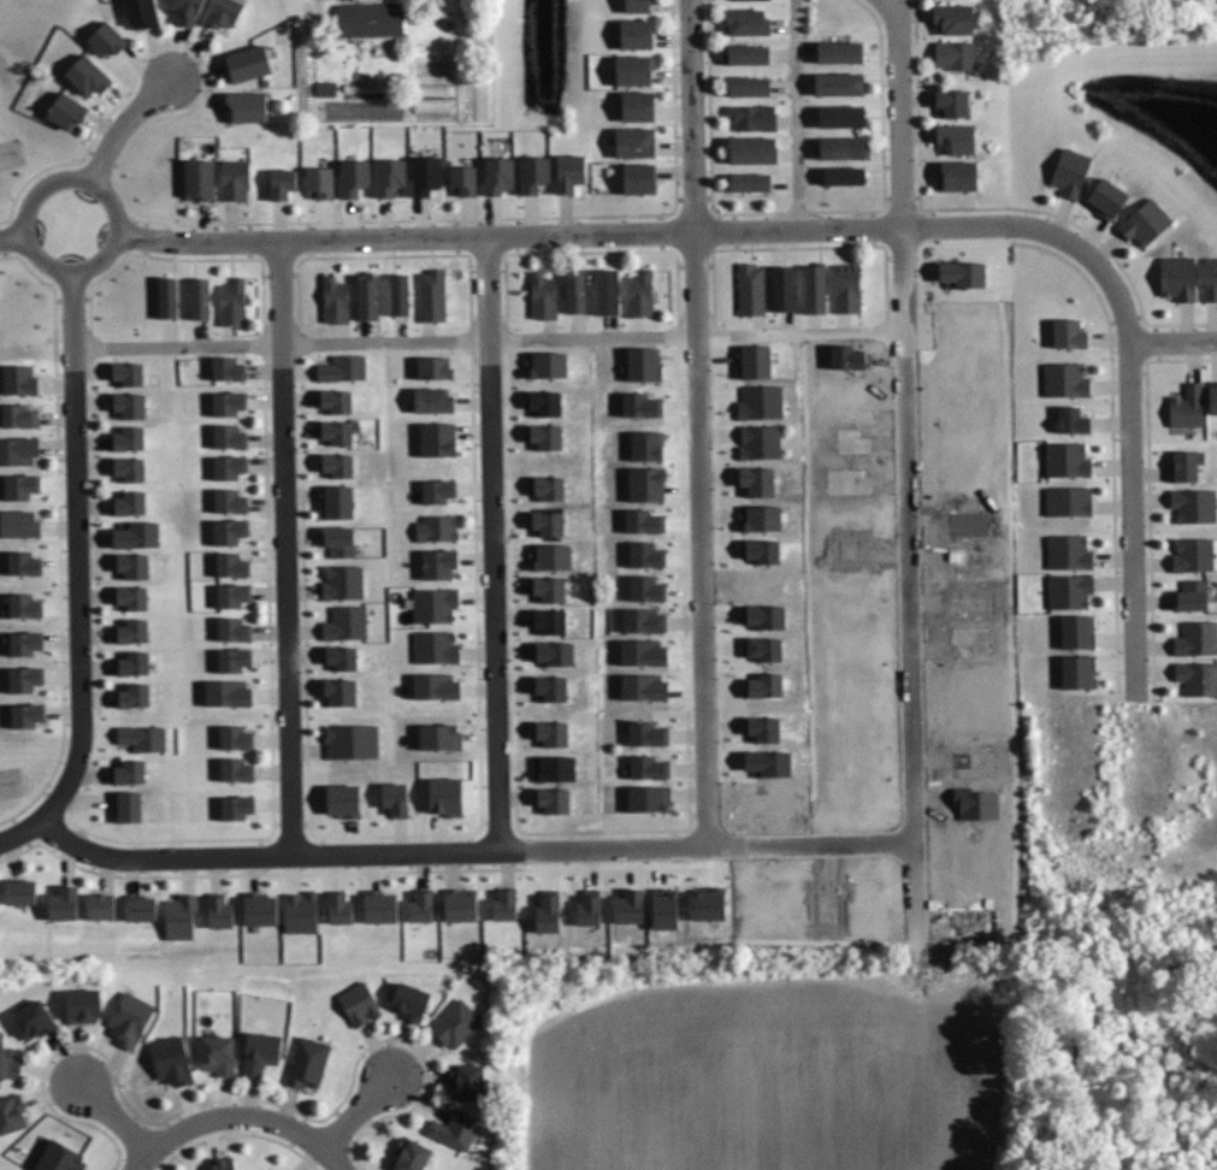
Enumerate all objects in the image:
building: (746, 0)
building: (638, 6)
building: (187, 10)
building: (140, 13)
building: (223, 13)
building: (366, 19)
building: (955, 19)
building: (748, 22)
building: (637, 34)
building: (104, 39)
building: (840, 52)
building: (749, 53)
building: (953, 54)
building: (248, 64)
building: (634, 69)
building: (84, 75)
building: (839, 83)
building: (749, 85)
building: (324, 89)
building: (951, 102)
building: (638, 105)
building: (246, 106)
building: (64, 112)
road: (796, 116)
building: (844, 116)
building: (756, 120)
road: (122, 125)
building: (956, 138)
building: (636, 142)
building: (752, 147)
building: (845, 147)
building: (1070, 172)
building: (531, 173)
building: (567, 173)
building: (423, 175)
building: (496, 175)
building: (841, 175)
building: (386, 176)
building: (956, 176)
building: (350, 177)
building: (639, 177)
building: (461, 178)
road: (903, 178)
building: (196, 179)
building: (234, 179)
building: (750, 181)
building: (315, 182)
building: (279, 183)
building: (1105, 199)
building: (1144, 223)
road: (124, 225)
road: (699, 232)
road: (11, 241)
building: (961, 273)
building: (1176, 277)
building: (1209, 278)
building: (845, 288)
building: (750, 289)
building: (782, 289)
building: (813, 289)
building: (573, 290)
building: (605, 292)
building: (397, 294)
building: (639, 294)
building: (430, 296)
building: (540, 296)
building: (166, 297)
building: (366, 297)
building: (199, 299)
building: (335, 300)
building: (231, 301)
building: (1068, 333)
road: (489, 336)
building: (544, 364)
building: (750, 364)
building: (638, 365)
building: (226, 367)
building: (342, 367)
building: (436, 367)
building: (128, 372)
building: (18, 378)
building: (1063, 378)
building: (1211, 397)
building: (336, 400)
building: (435, 401)
building: (543, 401)
building: (229, 402)
building: (128, 403)
building: (757, 403)
building: (1186, 406)
building: (637, 407)
building: (19, 415)
building: (1070, 420)
road: (699, 424)
building: (338, 430)
building: (544, 435)
building: (229, 436)
building: (129, 437)
building: (437, 438)
building: (757, 443)
building: (642, 448)
building: (18, 450)
building: (1063, 460)
building: (337, 465)
building: (1183, 465)
building: (230, 466)
building: (130, 467)
building: (751, 483)
building: (19, 485)
building: (640, 486)
building: (542, 490)
building: (431, 491)
building: (337, 500)
building: (230, 501)
building: (1065, 501)
building: (130, 502)
building: (1193, 504)
building: (756, 520)
road: (1135, 521)
building: (640, 522)
building: (20, 524)
building: (543, 526)
building: (432, 530)
building: (229, 531)
building: (134, 533)
building: (330, 539)
road: (491, 543)
road: (285, 546)
building: (1067, 551)
road: (77, 552)
building: (1193, 554)
building: (638, 556)
building: (544, 559)
building: (25, 563)
building: (131, 565)
building: (431, 565)
building: (231, 566)
building: (338, 584)
building: (639, 590)
building: (543, 591)
building: (1067, 591)
building: (232, 593)
building: (1192, 593)
building: (130, 596)
road: (906, 599)
building: (22, 605)
building: (430, 607)
building: (760, 617)
building: (634, 621)
building: (343, 624)
building: (544, 624)
building: (232, 630)
building: (131, 631)
building: (1075, 631)
building: (1195, 638)
building: (24, 642)
building: (431, 649)
building: (758, 650)
building: (548, 655)
building: (634, 655)
building: (232, 658)
building: (335, 658)
building: (132, 666)
building: (1076, 672)
building: (1197, 676)
building: (25, 679)
building: (760, 687)
building: (427, 689)
building: (547, 690)
building: (634, 690)
building: (339, 692)
building: (132, 693)
building: (228, 693)
building: (25, 714)
building: (548, 734)
building: (236, 735)
building: (142, 737)
building: (438, 737)
building: (351, 740)
building: (237, 768)
building: (553, 769)
building: (644, 769)
building: (130, 772)
building: (445, 797)
building: (395, 799)
building: (551, 799)
building: (343, 800)
building: (126, 805)
building: (235, 806)
road: (22, 832)
road: (469, 851)
building: (20, 890)
building: (503, 903)
building: (61, 904)
building: (460, 904)
building: (140, 905)
building: (420, 905)
building: (101, 906)
building: (379, 906)
building: (339, 908)
building: (702, 908)
building: (624, 909)
building: (258, 910)
building: (584, 910)
building: (219, 912)
building: (300, 912)
building: (660, 912)
building: (181, 916)
building: (543, 916)
building: (406, 1001)
building: (355, 1004)
building: (79, 1005)
building: (33, 1018)
building: (128, 1020)
building: (453, 1024)
building: (258, 1053)
building: (214, 1056)
building: (171, 1060)
building: (306, 1063)
building: (8, 1064)
building: (466, 1080)
building: (11, 1111)
road: (358, 1112)
road: (113, 1119)
road: (182, 1129)
building: (453, 1129)
road: (299, 1130)
building: (412, 1156)
building: (57, 1158)
building: (223, 1163)

